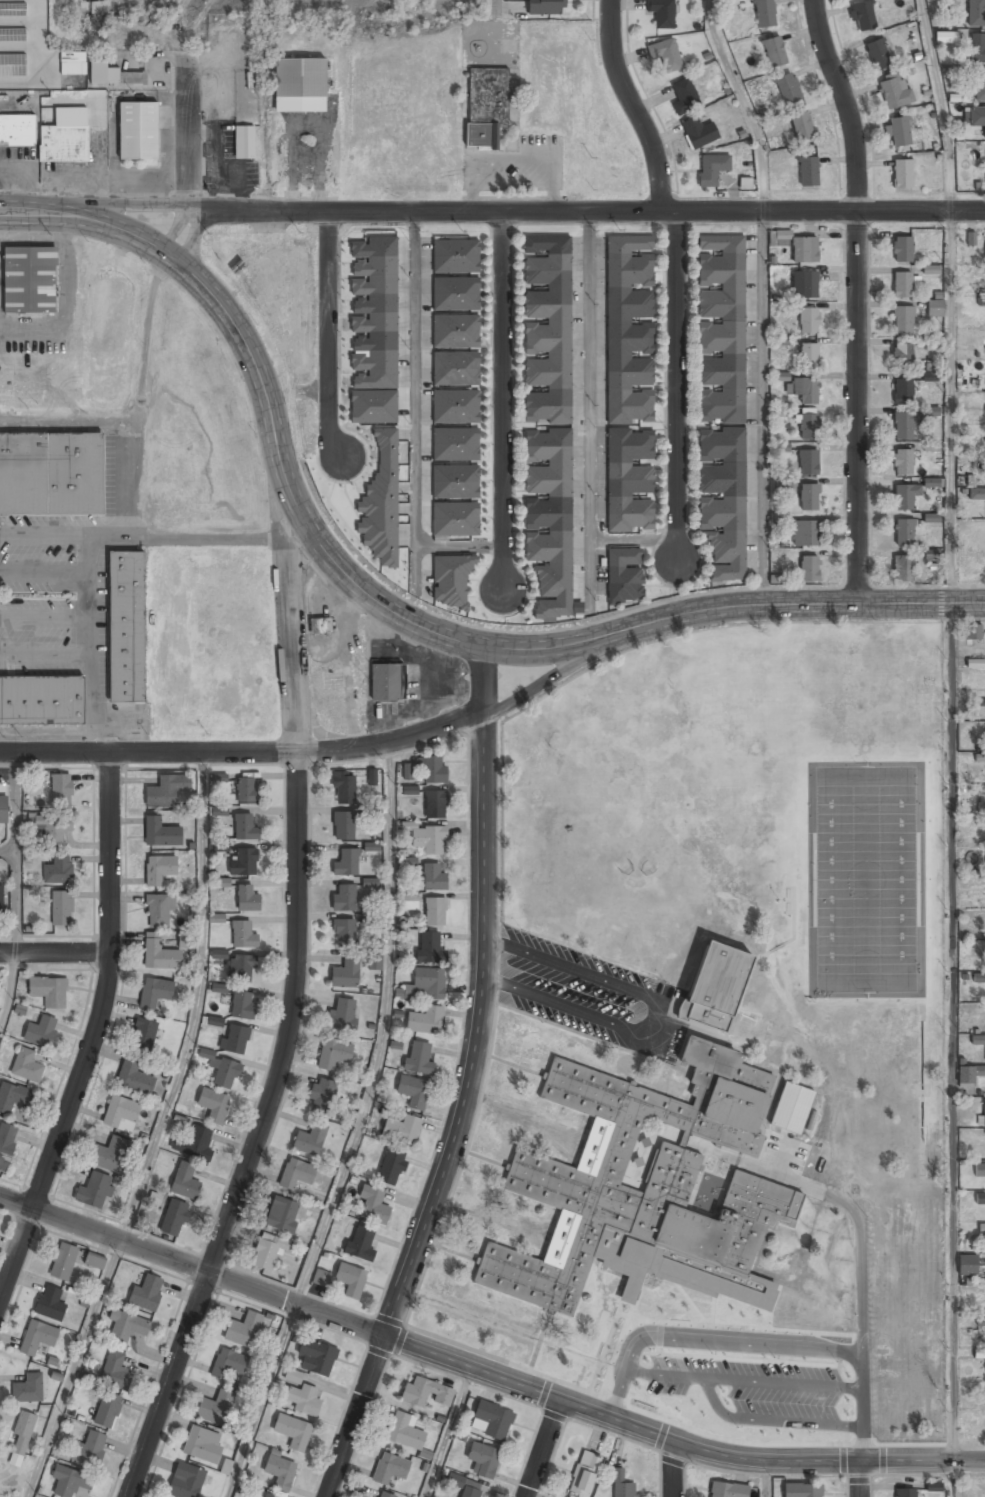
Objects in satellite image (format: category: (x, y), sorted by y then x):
building: (545, 7)
building: (12, 9)
building: (661, 12)
building: (764, 13)
building: (976, 13)
building: (863, 14)
building: (12, 35)
building: (942, 37)
building: (977, 48)
building: (774, 50)
building: (878, 53)
building: (665, 54)
building: (73, 63)
building: (13, 65)
building: (113, 75)
building: (299, 85)
building: (979, 85)
building: (787, 88)
building: (893, 92)
building: (684, 96)
road: (744, 103)
road: (940, 104)
building: (485, 106)
road: (634, 106)
building: (976, 117)
building: (801, 124)
road: (190, 127)
building: (16, 130)
building: (137, 131)
building: (898, 131)
building: (697, 132)
building: (244, 143)
building: (63, 144)
building: (711, 169)
building: (807, 170)
building: (902, 173)
building: (744, 183)
road: (529, 212)
road: (37, 214)
building: (782, 238)
building: (804, 249)
building: (902, 249)
building: (454, 256)
building: (930, 269)
building: (29, 282)
building: (804, 284)
building: (902, 284)
building: (454, 294)
road: (858, 299)
building: (981, 301)
building: (935, 308)
building: (374, 311)
building: (807, 320)
building: (903, 320)
building: (722, 328)
building: (548, 329)
building: (629, 329)
building: (454, 332)
road: (328, 335)
building: (901, 353)
building: (808, 355)
building: (455, 369)
building: (929, 376)
road: (676, 386)
building: (804, 388)
building: (902, 392)
road: (141, 393)
road: (763, 394)
road: (412, 398)
road: (503, 401)
building: (373, 406)
building: (455, 407)
road: (587, 407)
road: (949, 408)
building: (903, 425)
building: (809, 426)
building: (454, 445)
building: (781, 447)
building: (807, 461)
building: (902, 462)
building: (50, 475)
building: (629, 480)
building: (455, 482)
building: (932, 482)
building: (976, 493)
building: (904, 496)
building: (808, 497)
road: (294, 501)
building: (722, 501)
building: (381, 502)
building: (931, 517)
building: (454, 520)
building: (548, 520)
building: (805, 532)
building: (903, 532)
road: (193, 535)
road: (618, 538)
road: (458, 543)
building: (809, 568)
building: (902, 568)
building: (624, 575)
building: (776, 579)
building: (450, 580)
parking lot: (50, 594)
road: (801, 606)
building: (319, 625)
building: (124, 628)
building: (974, 631)
building: (975, 663)
building: (385, 682)
building: (42, 699)
road: (93, 712)
road: (324, 751)
building: (433, 770)
building: (372, 777)
building: (219, 778)
building: (343, 787)
building: (61, 790)
building: (166, 790)
building: (246, 791)
building: (982, 800)
building: (435, 804)
building: (3, 810)
building: (220, 811)
building: (343, 825)
building: (52, 826)
building: (245, 827)
building: (160, 832)
building: (427, 838)
building: (372, 846)
building: (244, 861)
building: (409, 861)
building: (346, 862)
building: (58, 869)
building: (159, 869)
building: (434, 878)
building: (223, 882)
building: (371, 882)
road: (13, 894)
building: (247, 897)
building: (1, 898)
building: (344, 898)
building: (410, 901)
building: (61, 907)
building: (159, 908)
building: (435, 911)
building: (216, 918)
building: (344, 931)
building: (243, 933)
building: (186, 940)
building: (430, 948)
road: (55, 953)
building: (159, 953)
building: (219, 953)
building: (375, 963)
building: (240, 967)
building: (346, 973)
building: (978, 977)
building: (426, 984)
building: (713, 986)
road: (8, 987)
building: (219, 987)
building: (49, 990)
building: (155, 992)
parking lot: (585, 996)
road: (198, 1002)
building: (243, 1004)
building: (342, 1015)
road: (287, 1018)
building: (425, 1021)
road: (383, 1030)
building: (41, 1031)
road: (94, 1034)
building: (144, 1034)
road: (951, 1034)
building: (236, 1038)
building: (979, 1040)
building: (334, 1053)
building: (419, 1058)
building: (26, 1065)
building: (221, 1068)
building: (969, 1073)
building: (134, 1077)
road: (467, 1082)
building: (413, 1090)
building: (12, 1096)
building: (322, 1097)
building: (213, 1105)
building: (791, 1108)
building: (121, 1113)
building: (983, 1113)
building: (828, 1118)
building: (402, 1128)
building: (310, 1140)
building: (6, 1143)
building: (195, 1144)
building: (790, 1150)
building: (110, 1154)
building: (391, 1166)
building: (979, 1171)
building: (296, 1174)
building: (561, 1180)
building: (184, 1182)
building: (93, 1190)
road: (16, 1199)
building: (980, 1199)
building: (373, 1205)
building: (282, 1214)
building: (174, 1218)
building: (981, 1228)
building: (360, 1244)
building: (267, 1250)
building: (95, 1260)
building: (63, 1261)
building: (967, 1265)
building: (795, 1267)
building: (321, 1278)
building: (351, 1279)
building: (146, 1293)
building: (50, 1303)
road: (863, 1309)
building: (127, 1326)
building: (243, 1328)
building: (37, 1337)
road: (742, 1347)
building: (979, 1353)
building: (316, 1357)
building: (228, 1364)
road: (73, 1368)
building: (115, 1370)
road: (500, 1378)
building: (27, 1388)
building: (425, 1393)
parking lot: (786, 1396)
road: (260, 1400)
building: (303, 1400)
building: (216, 1407)
building: (106, 1409)
building: (491, 1421)
building: (293, 1431)
building: (405, 1431)
road: (447, 1432)
building: (21, 1438)
building: (202, 1445)
building: (90, 1448)
road: (543, 1448)
building: (482, 1460)
building: (390, 1468)
road: (673, 1469)
building: (279, 1470)
building: (584, 1473)
road: (762, 1479)
road: (864, 1480)
road: (952, 1480)
building: (186, 1481)
building: (70, 1482)
building: (622, 1484)
building: (933, 1486)
building: (728, 1490)
building: (801, 1490)
building: (471, 1492)
building: (905, 1492)
building: (262, 1494)
building: (385, 1495)

